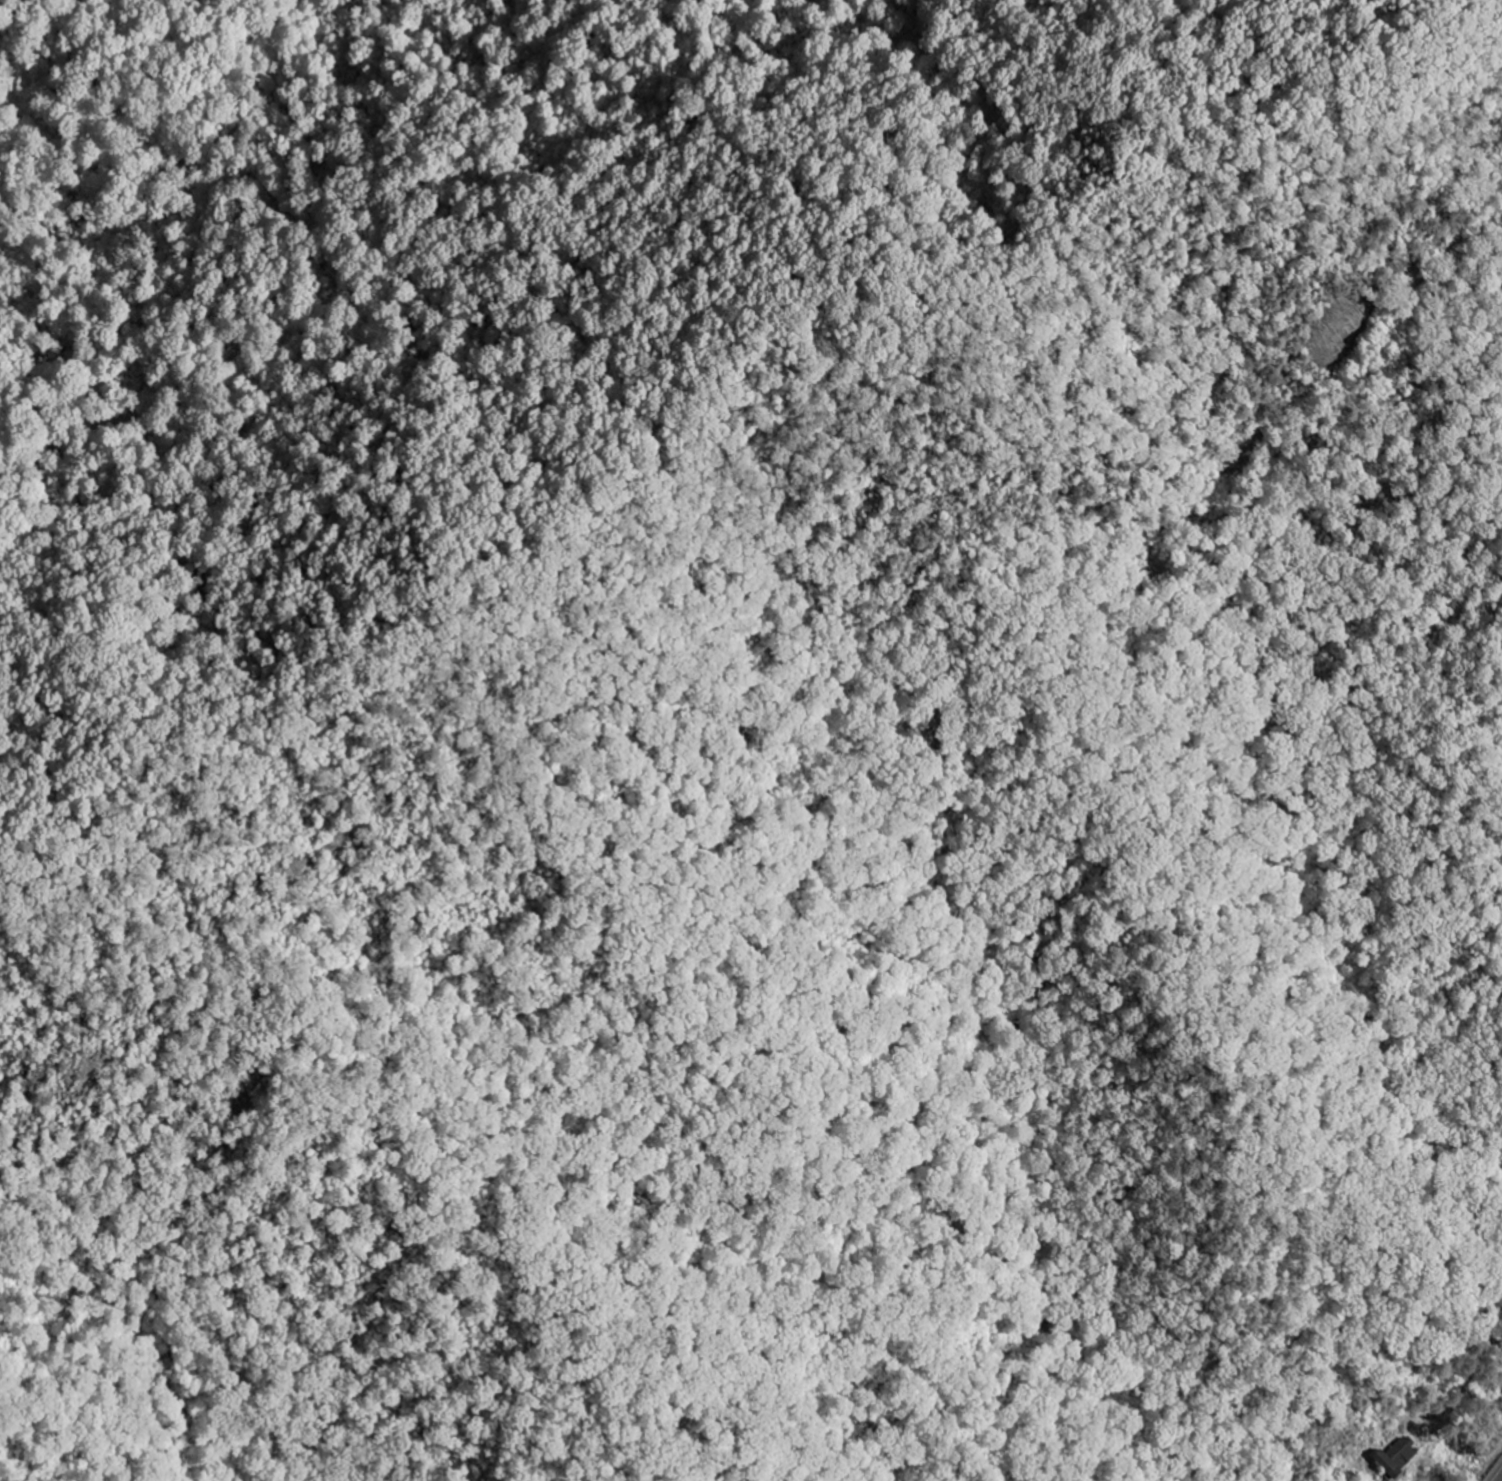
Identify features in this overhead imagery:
building: (1394, 1458)

